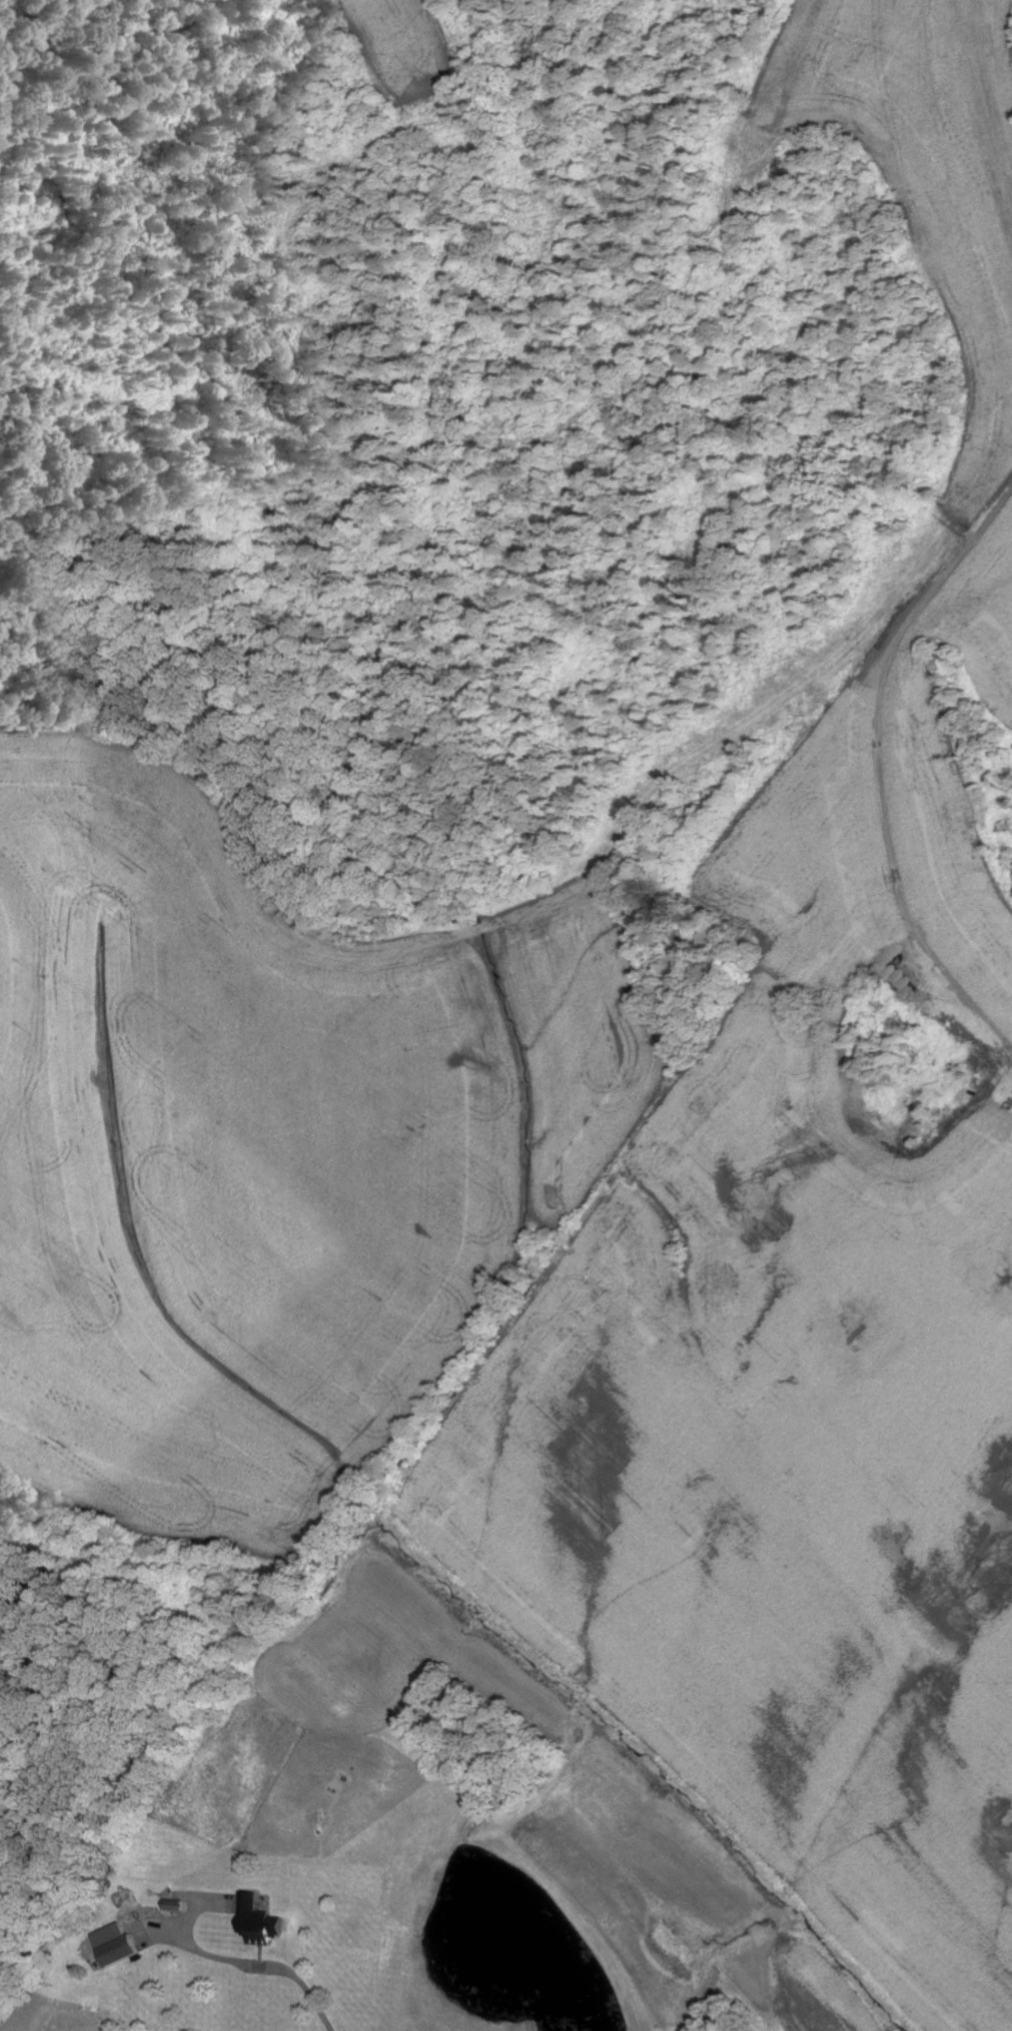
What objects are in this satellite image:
road: (986, 133)
building: (259, 1922)
building: (116, 1945)
road: (269, 1965)

